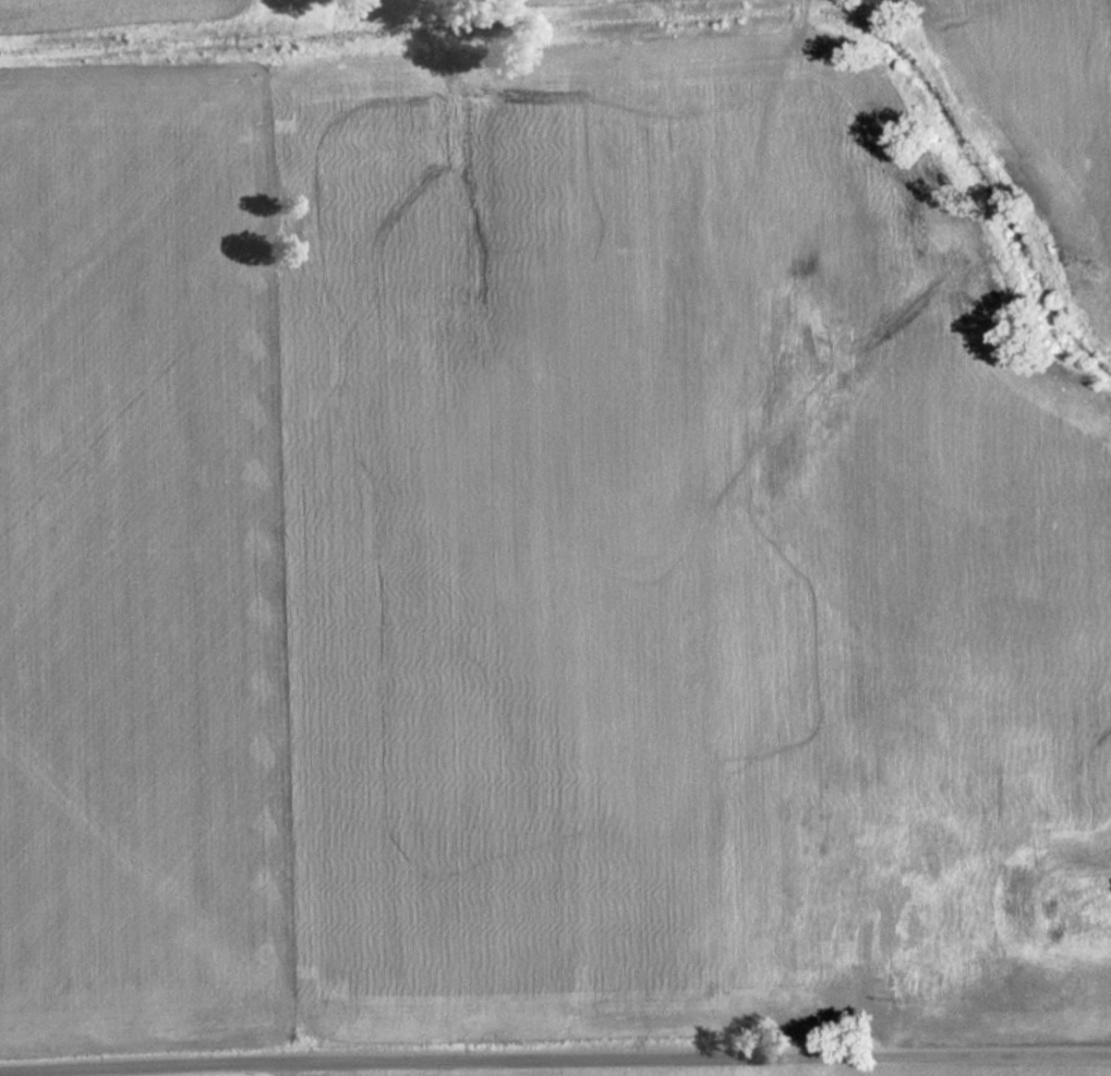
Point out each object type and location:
road: (617, 1063)

